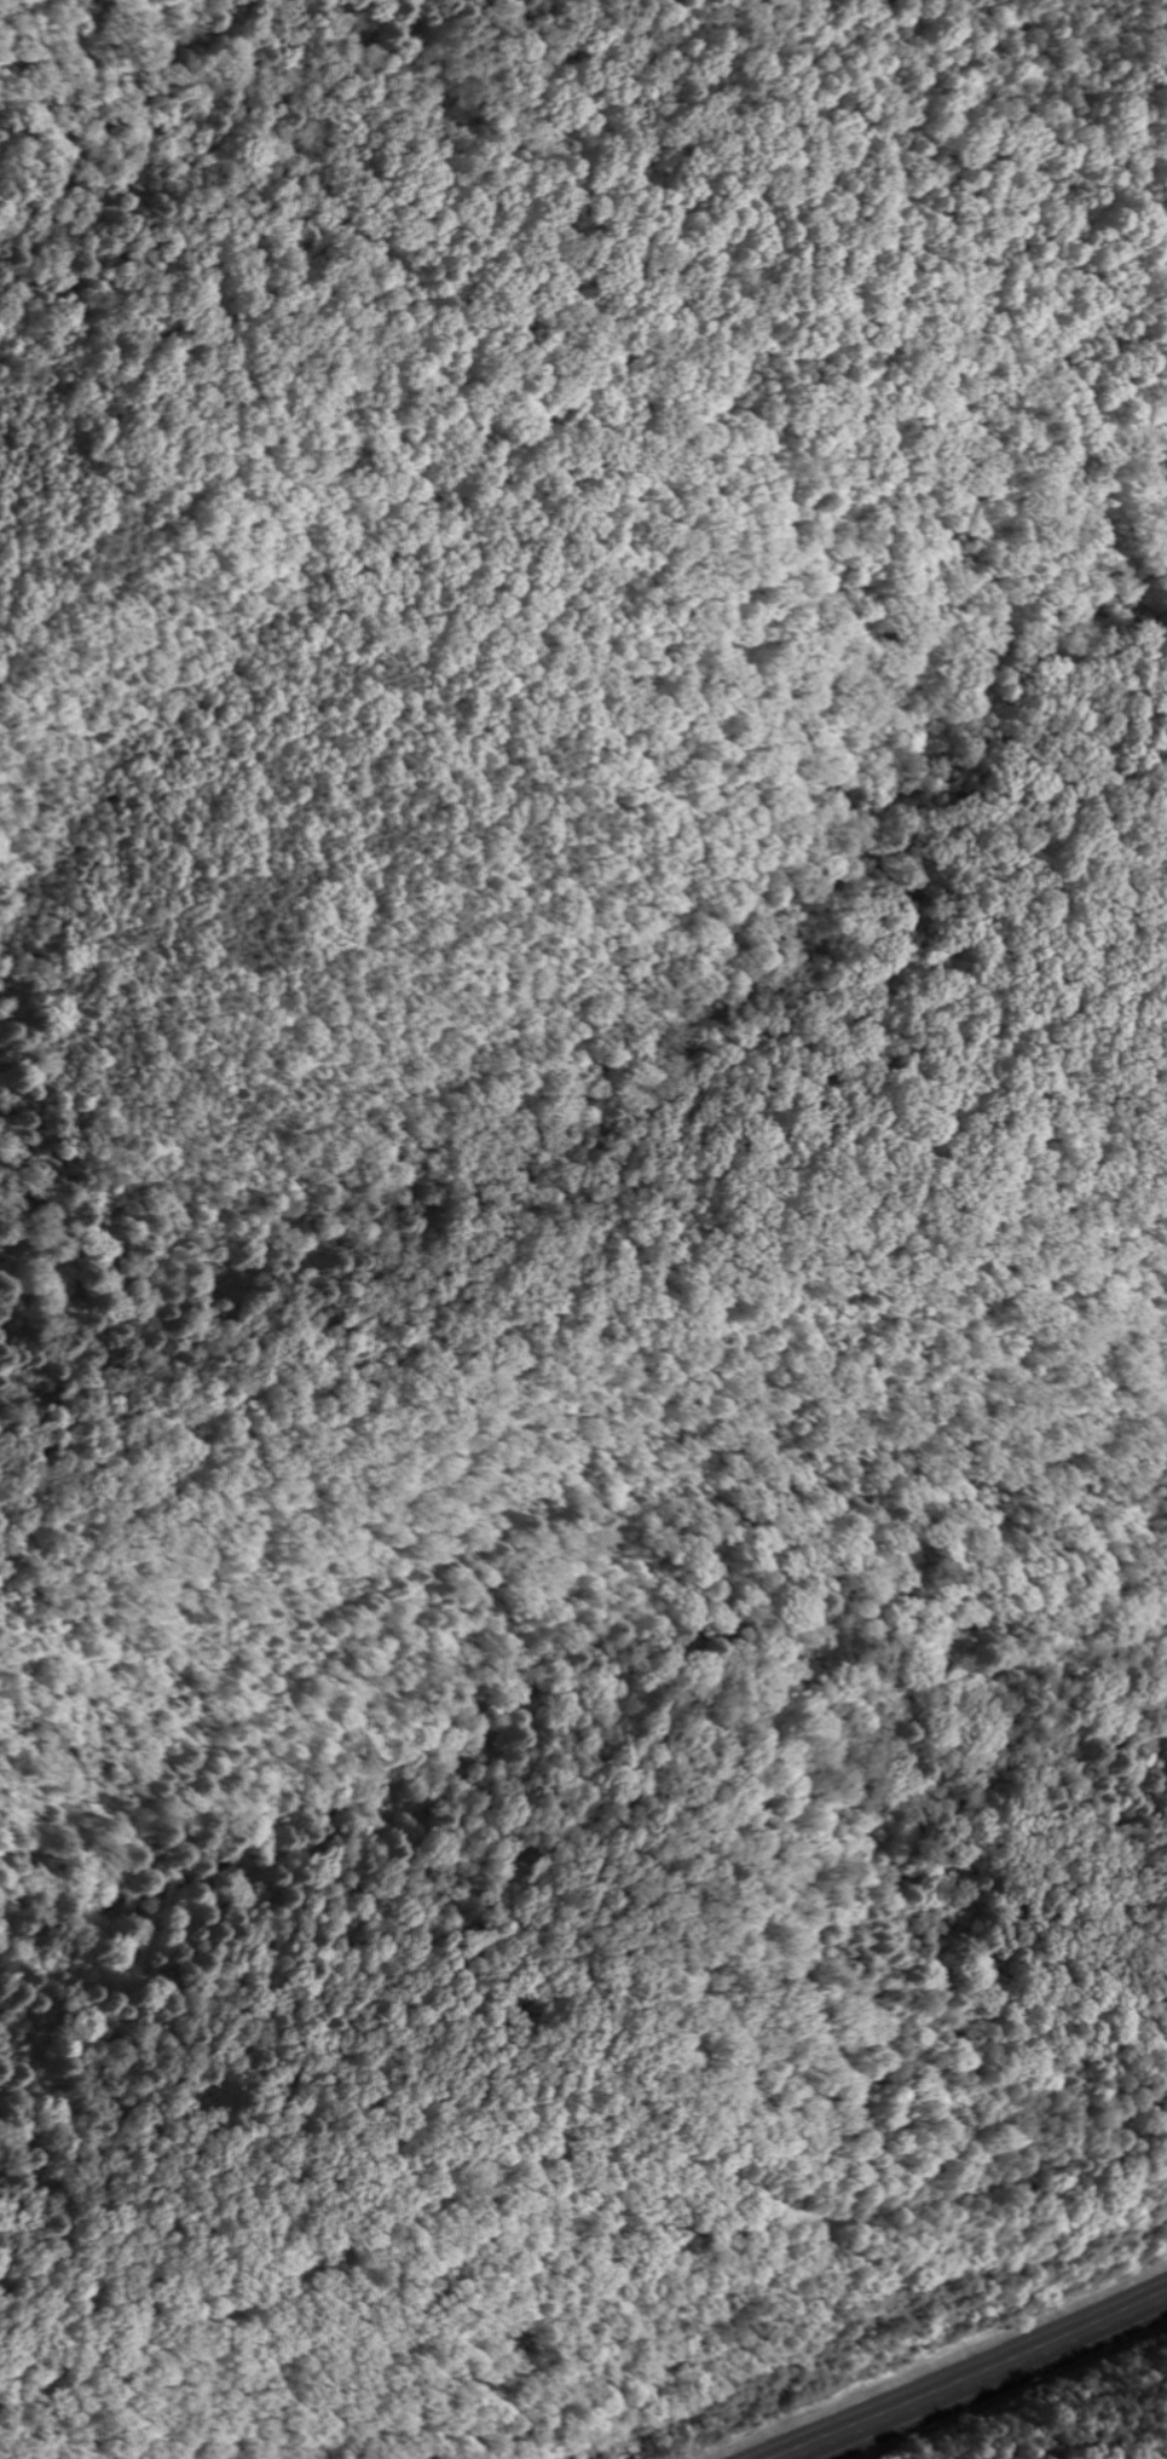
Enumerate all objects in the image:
road: (989, 2385)

